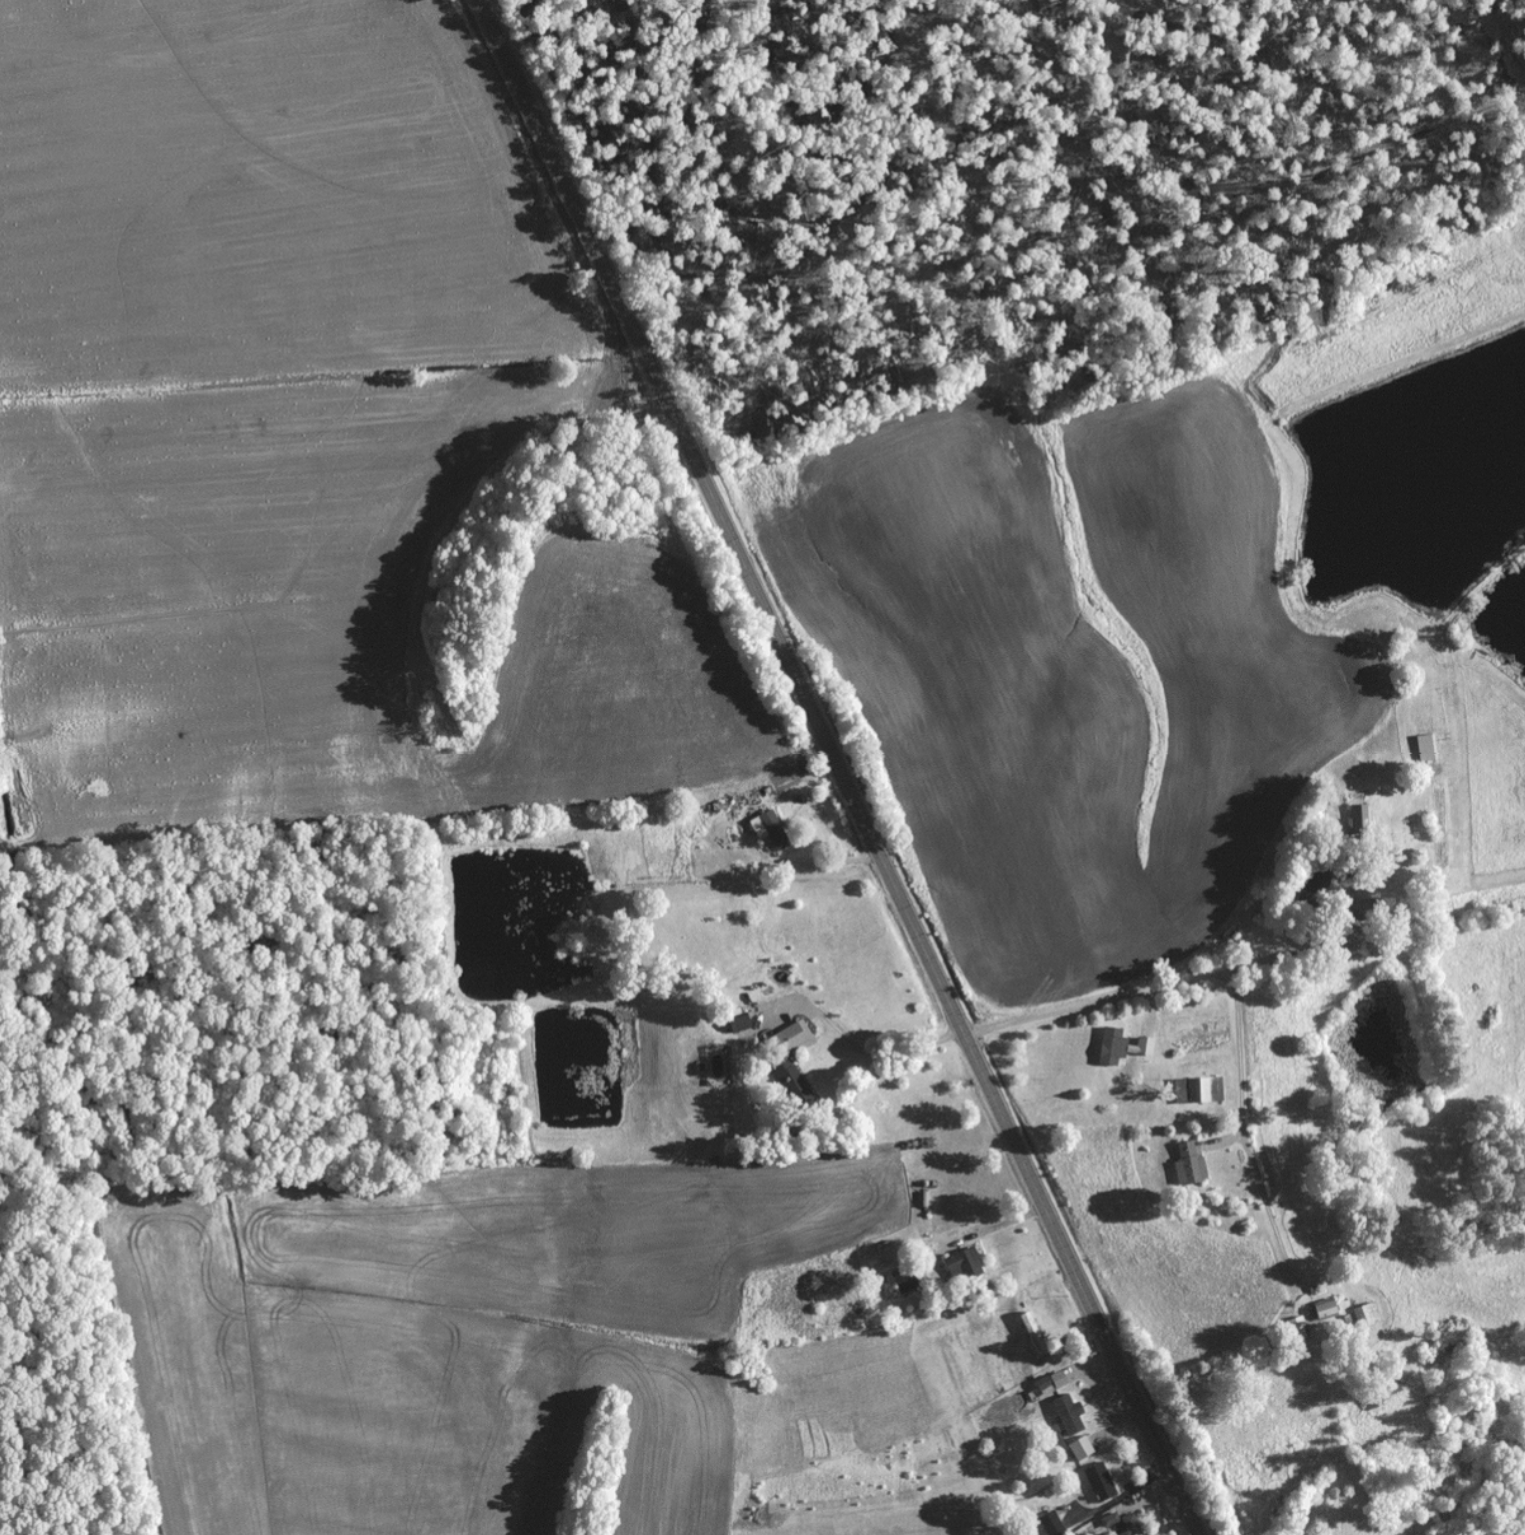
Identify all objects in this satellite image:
road: (845, 764)
road: (1207, 941)
building: (736, 1024)
building: (1118, 1046)
building: (786, 1058)
building: (1200, 1089)
road: (1314, 1100)
building: (1187, 1164)
building: (961, 1264)
building: (1319, 1311)
building: (1028, 1327)
building: (1049, 1383)
building: (1066, 1414)
building: (1078, 1448)
building: (1097, 1482)
building: (1050, 1524)
building: (1127, 1525)

